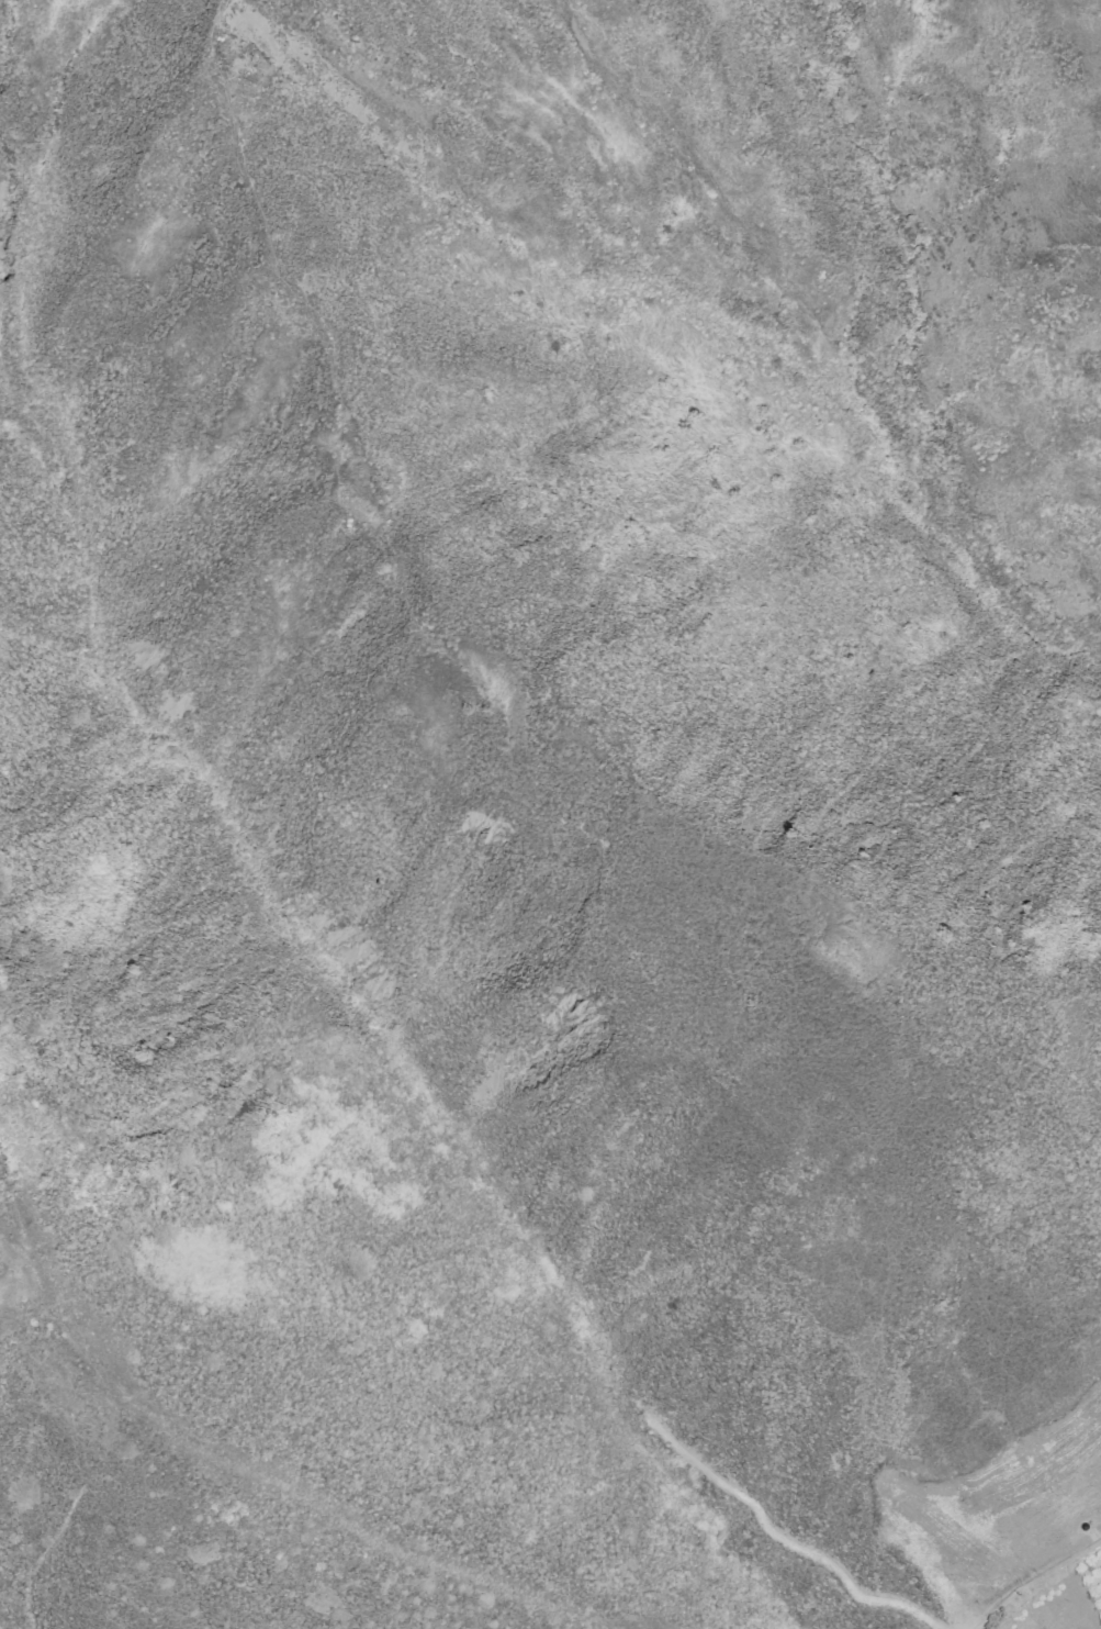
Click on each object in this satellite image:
road: (1033, 1577)
road: (926, 1620)

